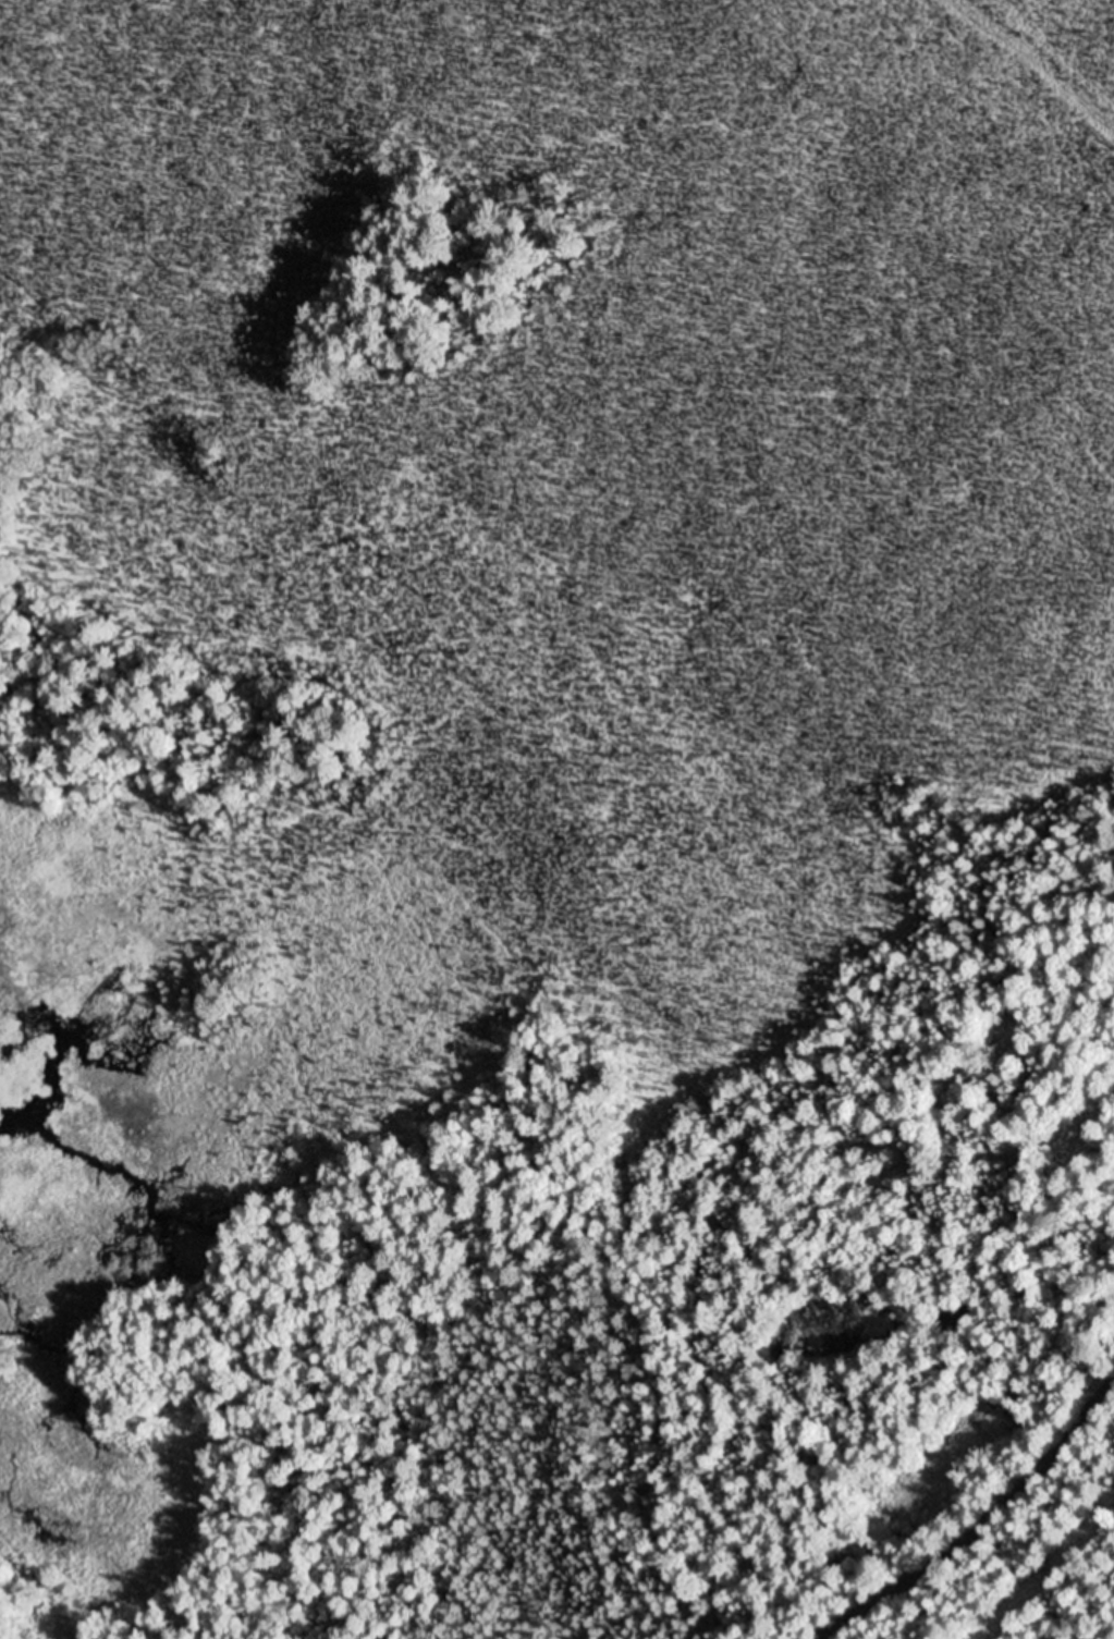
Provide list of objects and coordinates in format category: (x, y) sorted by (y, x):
road: (823, 668)
road: (984, 1529)

